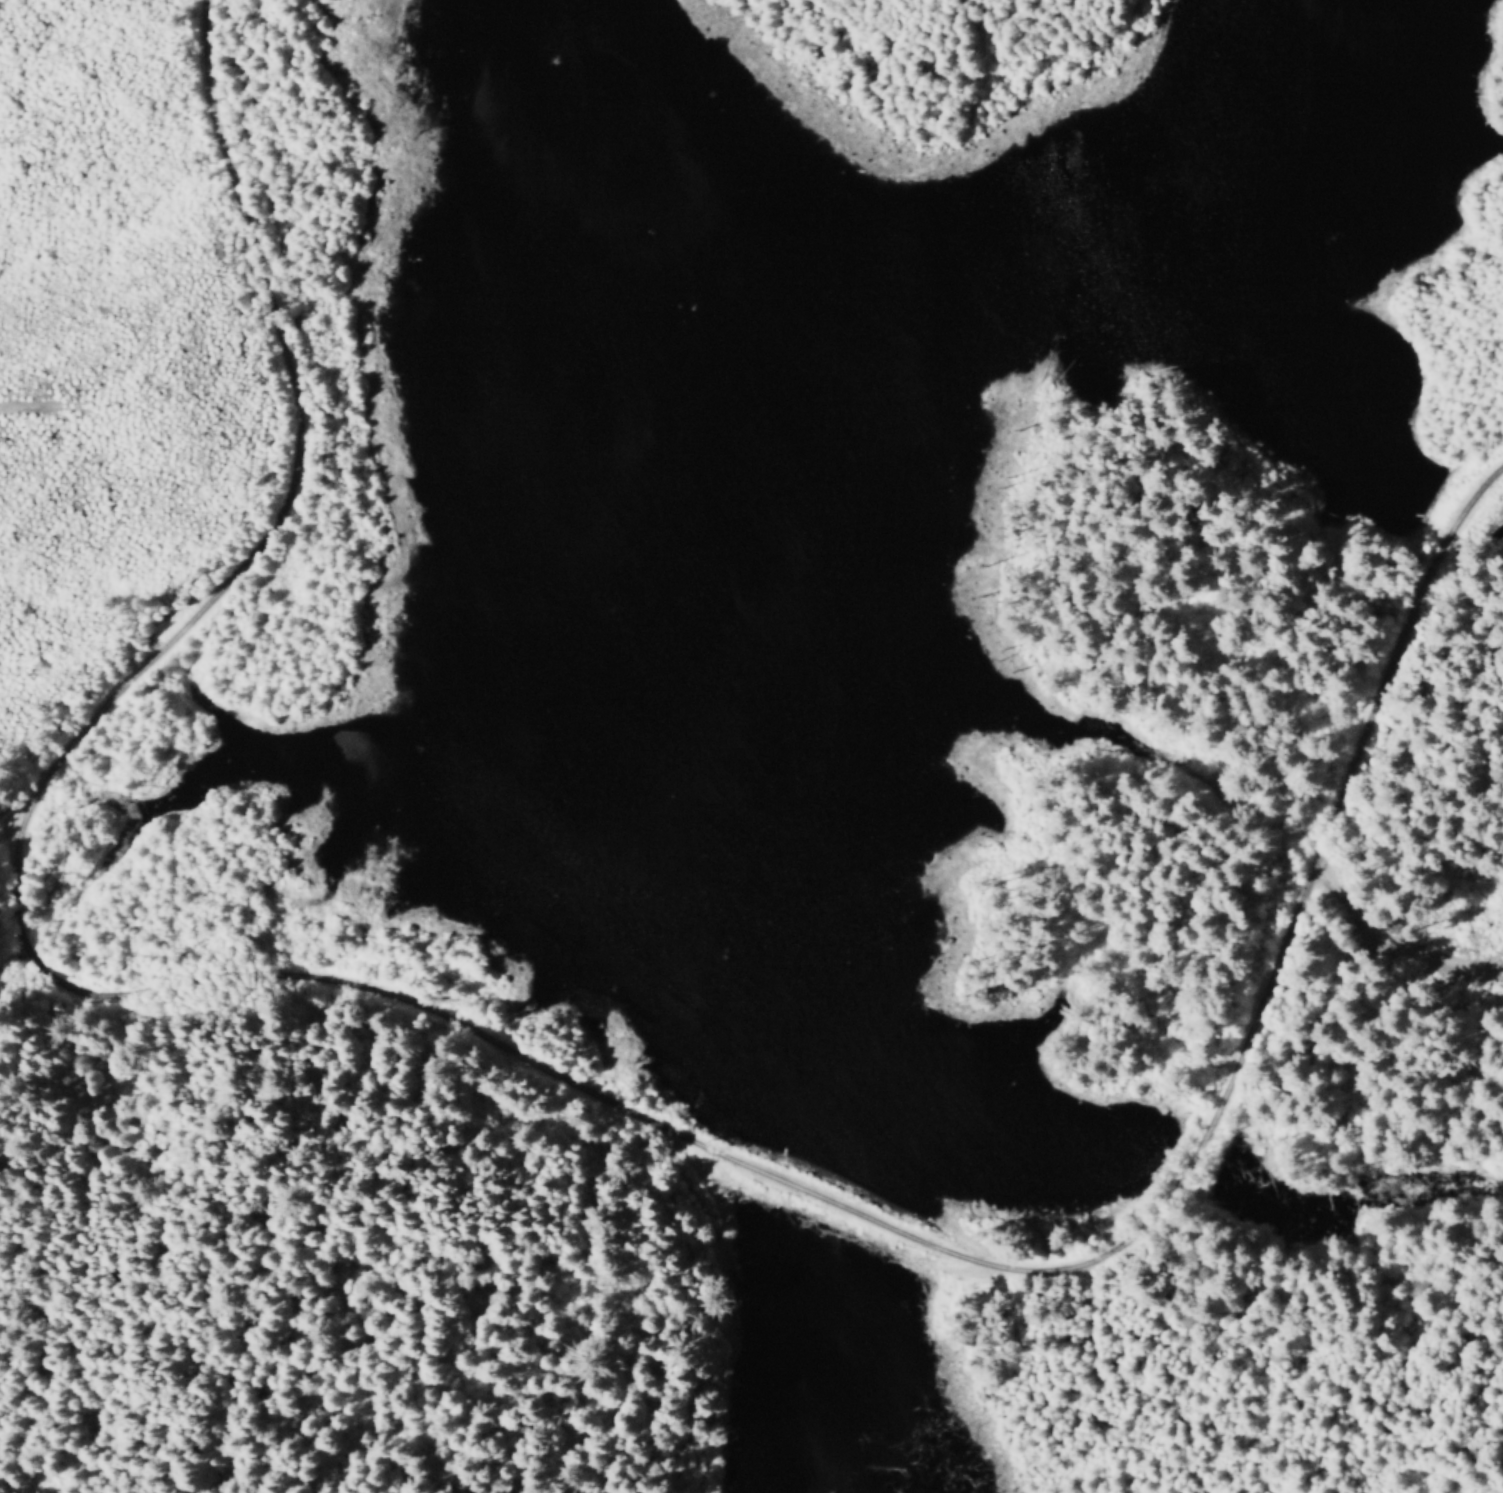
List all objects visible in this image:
road: (26, 409)
road: (499, 1038)

